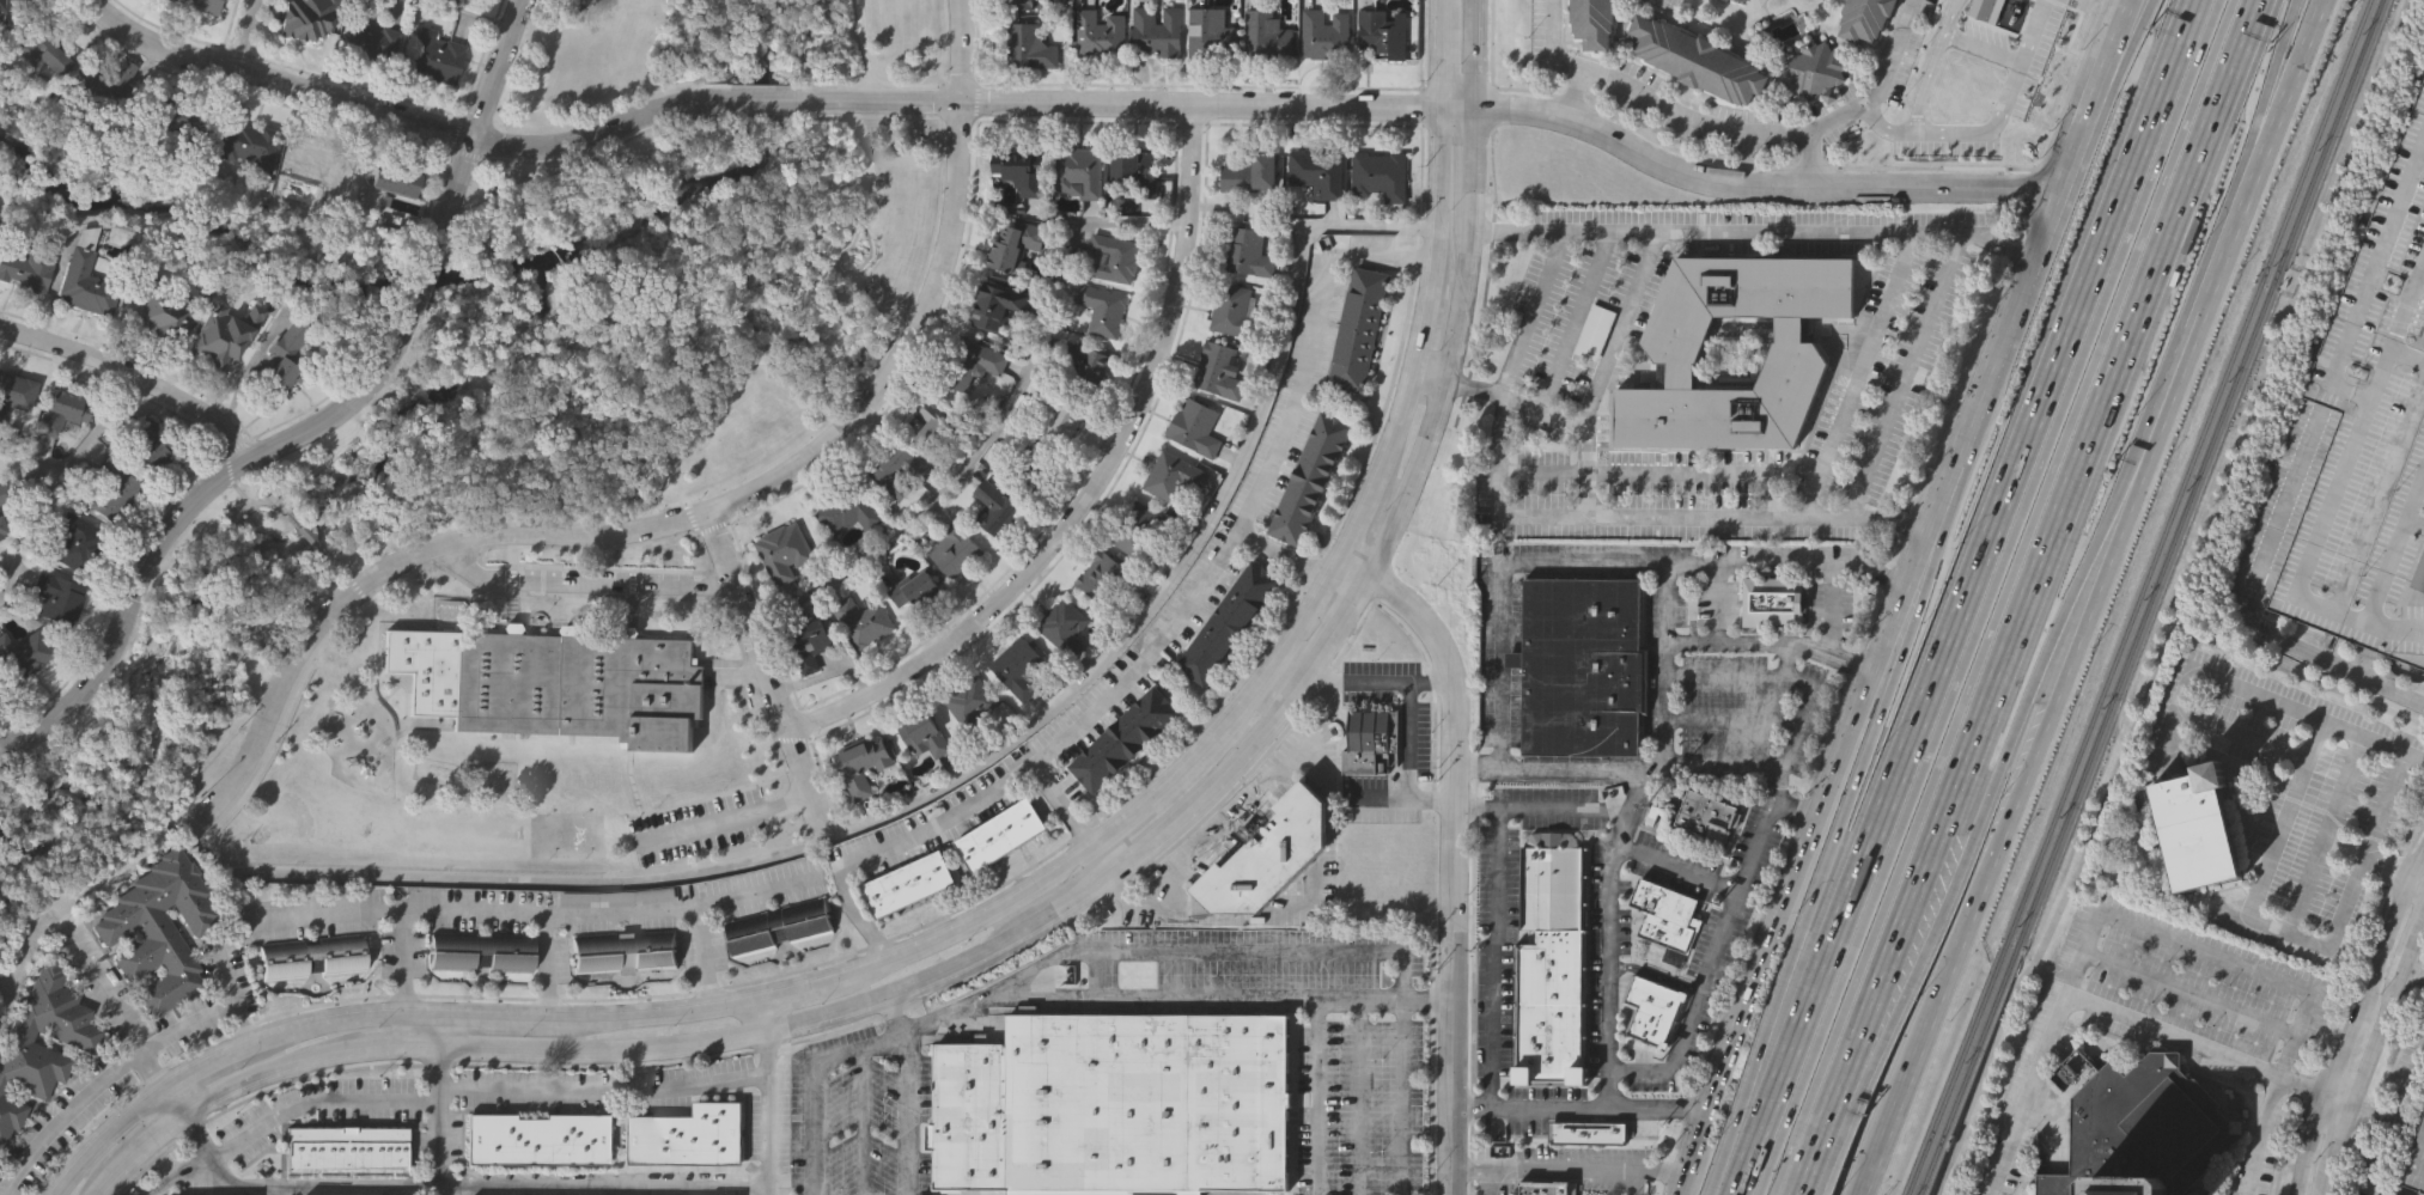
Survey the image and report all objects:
building: (1741, 1)
building: (5, 5)
building: (199, 5)
building: (1018, 5)
road: (469, 13)
building: (307, 18)
building: (1864, 18)
road: (2290, 19)
building: (1591, 22)
building: (1161, 29)
building: (1102, 31)
building: (1385, 31)
road: (238, 32)
building: (1212, 32)
building: (1326, 33)
building: (1267, 35)
building: (365, 36)
building: (1030, 43)
road: (859, 47)
road: (957, 50)
building: (39, 53)
building: (432, 56)
building: (1697, 60)
road: (1931, 65)
building: (1819, 68)
building: (120, 83)
road: (909, 84)
road: (778, 85)
road: (1882, 86)
road: (1573, 92)
road: (2095, 93)
road: (2108, 93)
road: (760, 99)
road: (888, 102)
road: (1649, 102)
road: (2268, 106)
road: (1515, 109)
road: (389, 114)
road: (765, 114)
building: (175, 116)
road: (1991, 128)
road: (470, 136)
building: (246, 144)
road: (1807, 159)
building: (309, 163)
building: (1022, 164)
building: (1079, 171)
building: (1138, 171)
building: (1318, 172)
building: (1249, 175)
building: (1381, 176)
building: (392, 178)
building: (1009, 246)
road: (1998, 246)
building: (1247, 249)
building: (1114, 254)
road: (450, 257)
road: (2368, 268)
building: (29, 270)
building: (84, 276)
building: (997, 303)
road: (413, 305)
building: (1102, 306)
building: (1235, 309)
building: (159, 318)
road: (1577, 321)
building: (1360, 327)
road: (1621, 329)
building: (1595, 330)
road: (2003, 334)
building: (220, 337)
building: (1676, 349)
building: (284, 354)
building: (1088, 360)
building: (973, 361)
building: (1218, 368)
park: (531, 370)
road: (132, 374)
road: (1859, 377)
building: (14, 397)
building: (62, 411)
road: (1541, 411)
building: (1062, 413)
road: (995, 423)
building: (1194, 423)
building: (933, 426)
road: (803, 437)
building: (148, 445)
road: (1876, 450)
building: (1036, 461)
road: (31, 462)
building: (897, 467)
railway: (2187, 471)
building: (1173, 474)
building: (1309, 474)
railway: (2197, 474)
road: (1657, 477)
road: (57, 482)
road: (2332, 484)
road: (1089, 486)
building: (109, 488)
building: (5, 493)
road: (249, 502)
road: (433, 502)
building: (998, 506)
building: (849, 507)
road: (173, 518)
road: (299, 525)
road: (1887, 526)
building: (1139, 529)
building: (1, 531)
road: (631, 531)
building: (72, 541)
road: (2046, 543)
building: (2264, 547)
building: (956, 548)
building: (785, 549)
road: (331, 563)
road: (1676, 566)
road: (1925, 566)
building: (1109, 574)
building: (2420, 577)
road: (1503, 585)
road: (580, 586)
building: (915, 586)
road: (2081, 589)
building: (56, 597)
road: (1966, 597)
road: (1985, 597)
road: (1999, 597)
road: (2094, 598)
building: (1773, 599)
road: (2180, 600)
building: (863, 617)
building: (1228, 618)
building: (1065, 624)
road: (1171, 633)
building: (809, 635)
road: (1773, 642)
building: (26, 653)
road: (1787, 661)
building: (1019, 665)
building: (1582, 665)
road: (763, 676)
road: (1784, 678)
building: (0, 683)
building: (579, 683)
road: (1382, 685)
road: (2182, 687)
road: (1316, 691)
building: (972, 703)
road: (1732, 720)
building: (925, 733)
building: (1370, 736)
building: (1123, 737)
road: (1408, 743)
road: (1735, 763)
building: (861, 766)
road: (1998, 767)
road: (975, 768)
road: (1825, 794)
road: (1395, 798)
road: (1448, 804)
road: (2383, 804)
road: (1564, 807)
building: (1707, 810)
park: (294, 816)
road: (725, 821)
building: (2197, 829)
parking lot: (696, 830)
building: (1001, 831)
park: (566, 836)
road: (1090, 849)
building: (1271, 855)
road: (1826, 859)
road: (1679, 866)
road: (2265, 870)
road: (2414, 877)
building: (910, 882)
road: (1017, 896)
road: (1062, 902)
road: (1204, 906)
building: (1664, 913)
road: (530, 915)
building: (159, 926)
building: (779, 926)
road: (1494, 931)
building: (483, 949)
building: (625, 950)
building: (312, 952)
road: (2203, 952)
road: (1358, 955)
road: (704, 957)
road: (1905, 959)
road: (401, 962)
road: (548, 967)
building: (1553, 968)
road: (2414, 974)
parking lot: (2193, 975)
road: (2188, 993)
road: (1278, 1001)
road: (2093, 1002)
road: (967, 1004)
road: (2343, 1007)
building: (1649, 1010)
road: (115, 1011)
road: (766, 1014)
road: (2351, 1014)
road: (1609, 1019)
road: (239, 1025)
road: (444, 1026)
building: (32, 1055)
road: (2375, 1056)
road: (128, 1063)
railway: (1957, 1069)
railway: (1968, 1072)
road: (2382, 1083)
road: (817, 1085)
road: (2408, 1090)
road: (607, 1096)
road: (173, 1098)
road: (1320, 1098)
road: (1362, 1098)
road: (2334, 1102)
building: (1146, 1103)
road: (1527, 1106)
road: (1639, 1109)
road: (768, 1112)
building: (972, 1114)
road: (903, 1115)
road: (285, 1117)
road: (441, 1117)
road: (2371, 1117)
road: (860, 1122)
building: (2142, 1129)
road: (1740, 1132)
building: (1588, 1133)
road: (2259, 1134)
building: (687, 1135)
building: (538, 1136)
road: (1815, 1141)
building: (347, 1146)
road: (1694, 1152)
road: (2383, 1160)
building: (2414, 1163)
parking garage: (2414, 1163)
building: (1, 1164)
road: (1565, 1167)
road: (221, 1171)
road: (1488, 1181)
building: (1545, 1185)
road: (358, 1189)
building: (2125, 1190)
road: (604, 1191)
road: (1990, 1191)

